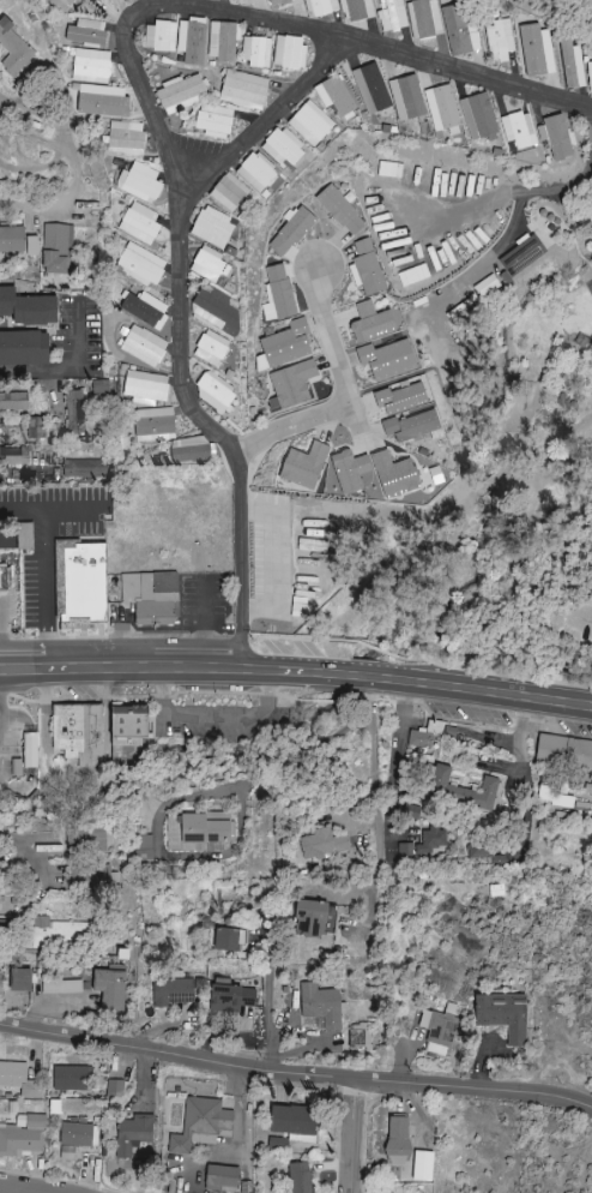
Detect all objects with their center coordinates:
building: (237, 0)
building: (279, 2)
building: (60, 4)
building: (320, 7)
building: (356, 10)
building: (392, 16)
building: (423, 19)
building: (458, 32)
building: (86, 34)
building: (159, 36)
building: (499, 40)
building: (191, 41)
building: (222, 41)
building: (12, 48)
building: (536, 50)
building: (256, 52)
building: (289, 52)
building: (91, 64)
building: (572, 65)
building: (590, 76)
building: (370, 89)
building: (243, 90)
building: (180, 94)
building: (334, 97)
building: (406, 97)
building: (102, 101)
building: (441, 107)
road: (266, 113)
road: (156, 114)
building: (478, 118)
building: (213, 121)
building: (310, 124)
building: (518, 130)
building: (126, 137)
building: (555, 137)
road: (61, 144)
building: (280, 146)
building: (255, 173)
building: (139, 182)
building: (228, 193)
road: (32, 205)
building: (340, 210)
building: (139, 223)
road: (512, 223)
building: (212, 228)
building: (291, 232)
building: (11, 239)
building: (56, 248)
building: (521, 254)
building: (140, 265)
building: (366, 269)
building: (485, 286)
building: (277, 294)
building: (28, 306)
building: (145, 310)
building: (216, 312)
building: (371, 322)
building: (143, 346)
building: (24, 347)
building: (211, 348)
building: (387, 358)
road: (65, 365)
building: (292, 383)
building: (101, 386)
building: (145, 388)
road: (342, 389)
building: (213, 392)
building: (400, 398)
building: (13, 401)
building: (73, 414)
building: (153, 424)
building: (411, 426)
building: (35, 428)
building: (188, 449)
building: (14, 456)
building: (304, 464)
building: (84, 469)
building: (350, 470)
building: (394, 475)
road: (43, 566)
building: (5, 578)
building: (80, 580)
building: (151, 596)
building: (300, 610)
road: (14, 617)
road: (201, 621)
street lamp: (24, 633)
road: (296, 673)
street lamp: (217, 697)
street lamp: (28, 708)
building: (129, 725)
building: (77, 732)
building: (419, 739)
building: (29, 750)
building: (563, 751)
building: (126, 753)
road: (393, 759)
building: (461, 791)
building: (552, 797)
road: (376, 803)
building: (197, 831)
building: (85, 840)
road: (32, 844)
building: (322, 845)
building: (425, 846)
building: (143, 847)
building: (488, 852)
building: (89, 877)
building: (5, 900)
building: (312, 918)
building: (1, 933)
building: (59, 934)
building: (228, 940)
building: (20, 979)
building: (61, 987)
building: (110, 989)
building: (171, 991)
building: (232, 997)
building: (320, 1005)
building: (503, 1015)
road: (270, 1018)
building: (437, 1032)
building: (360, 1036)
road: (295, 1073)
building: (72, 1078)
building: (18, 1080)
building: (114, 1089)
building: (295, 1122)
building: (201, 1125)
building: (133, 1134)
building: (22, 1135)
road: (355, 1135)
building: (399, 1143)
building: (300, 1177)
building: (221, 1179)
road: (25, 1189)

